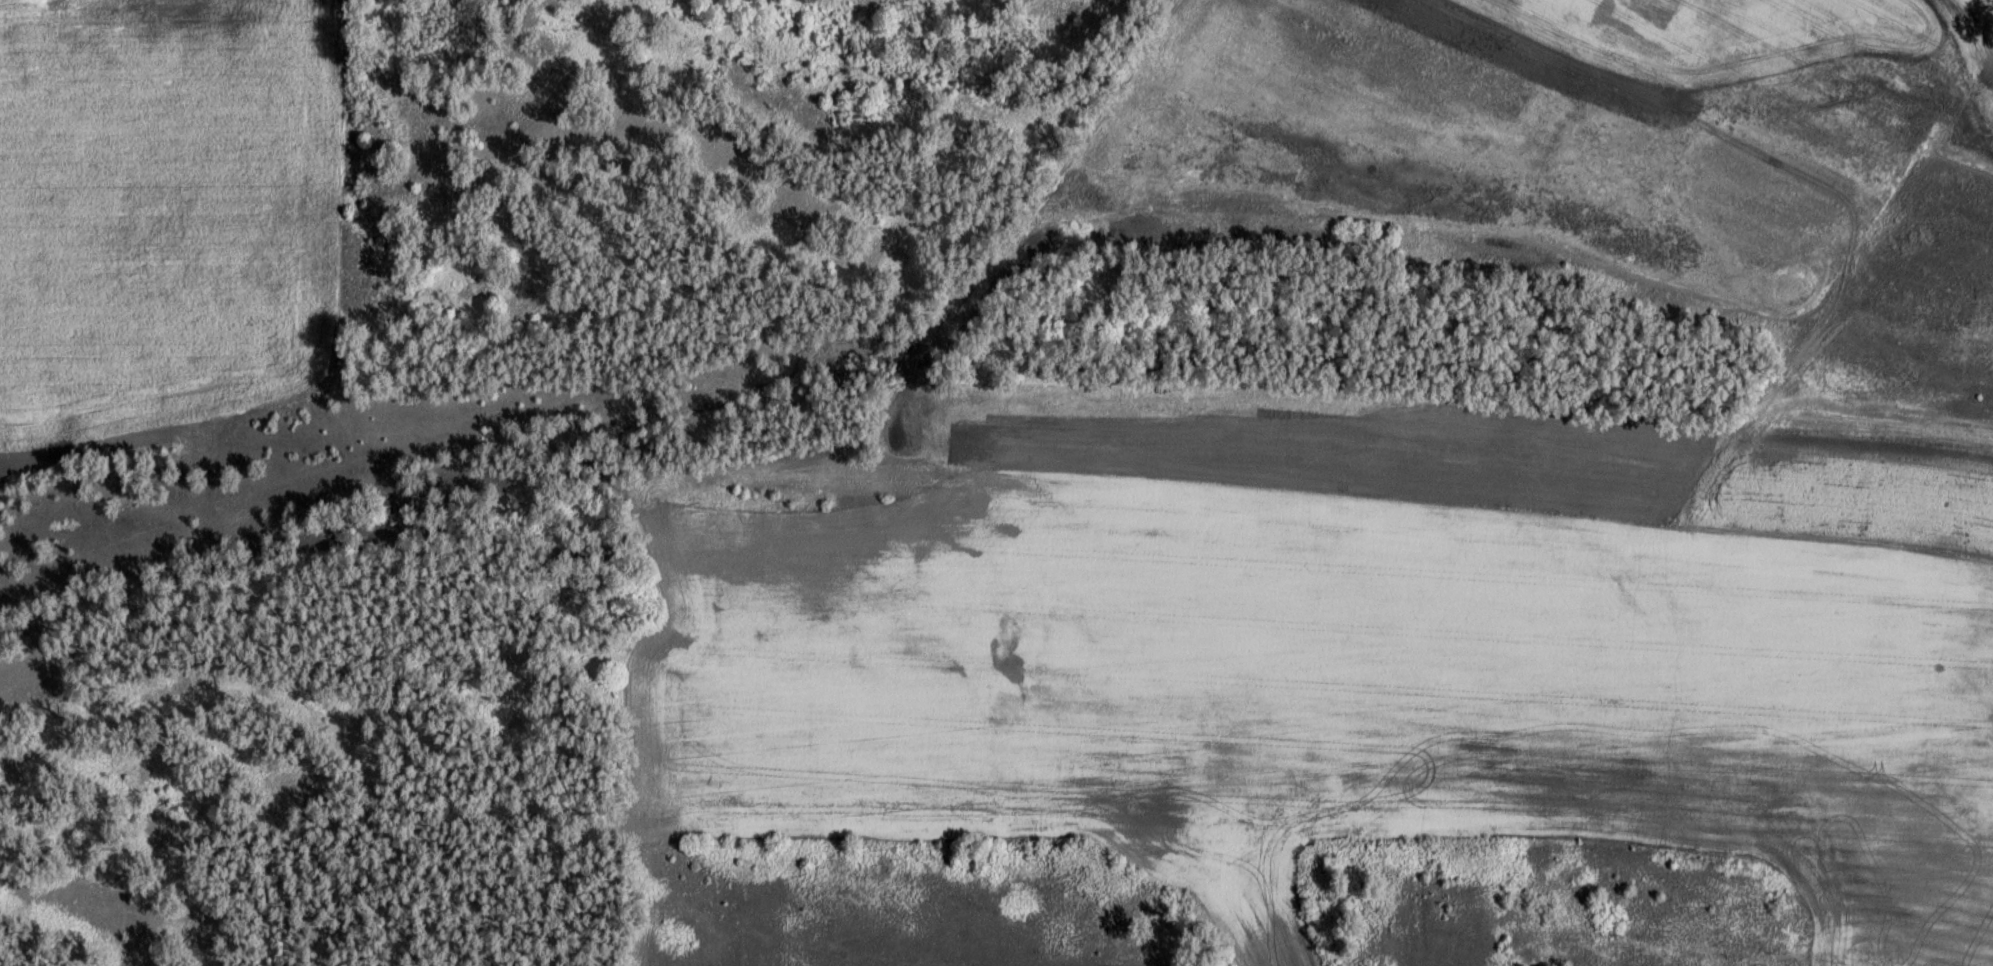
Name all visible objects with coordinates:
crop: (171, 226)
road: (1170, 468)

